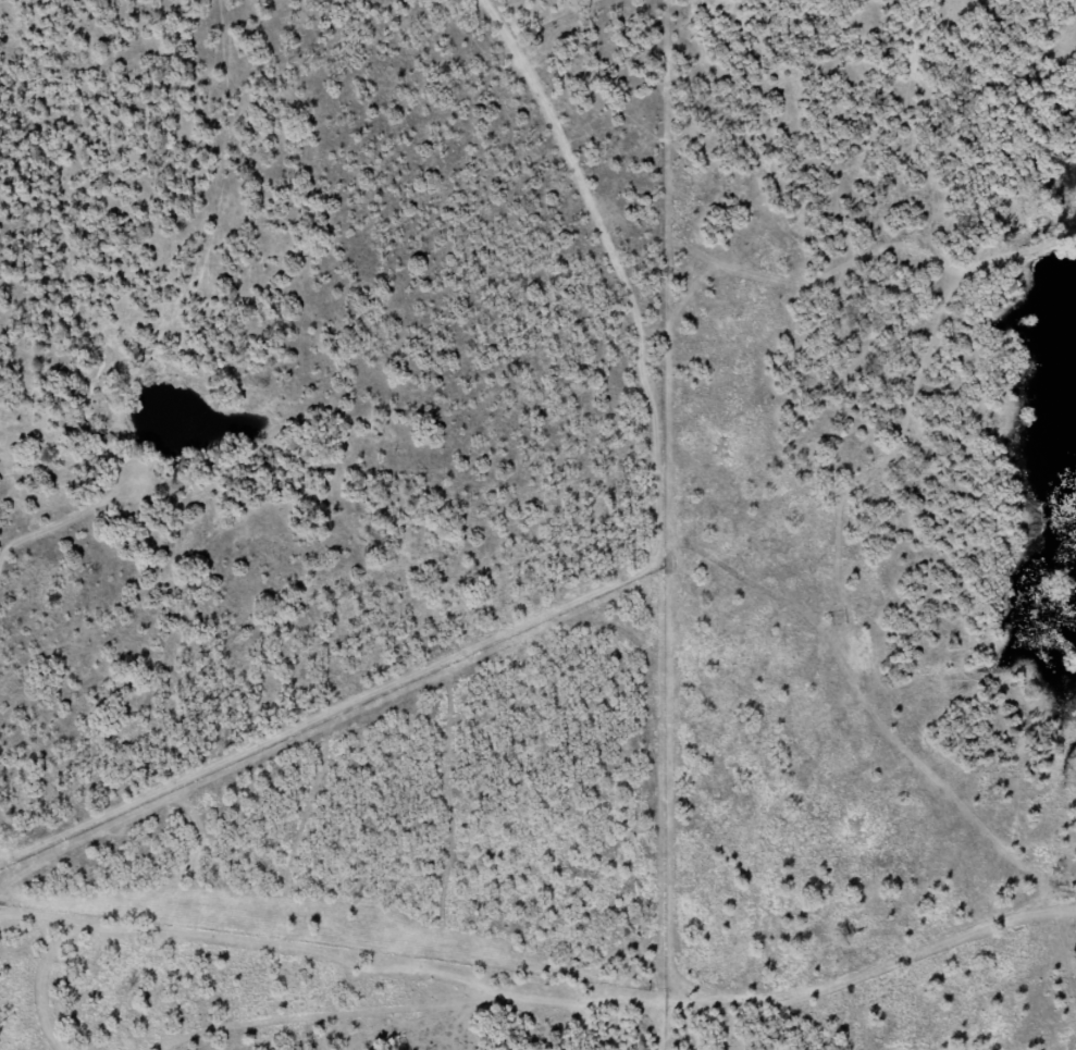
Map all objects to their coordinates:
road: (27, 1030)

